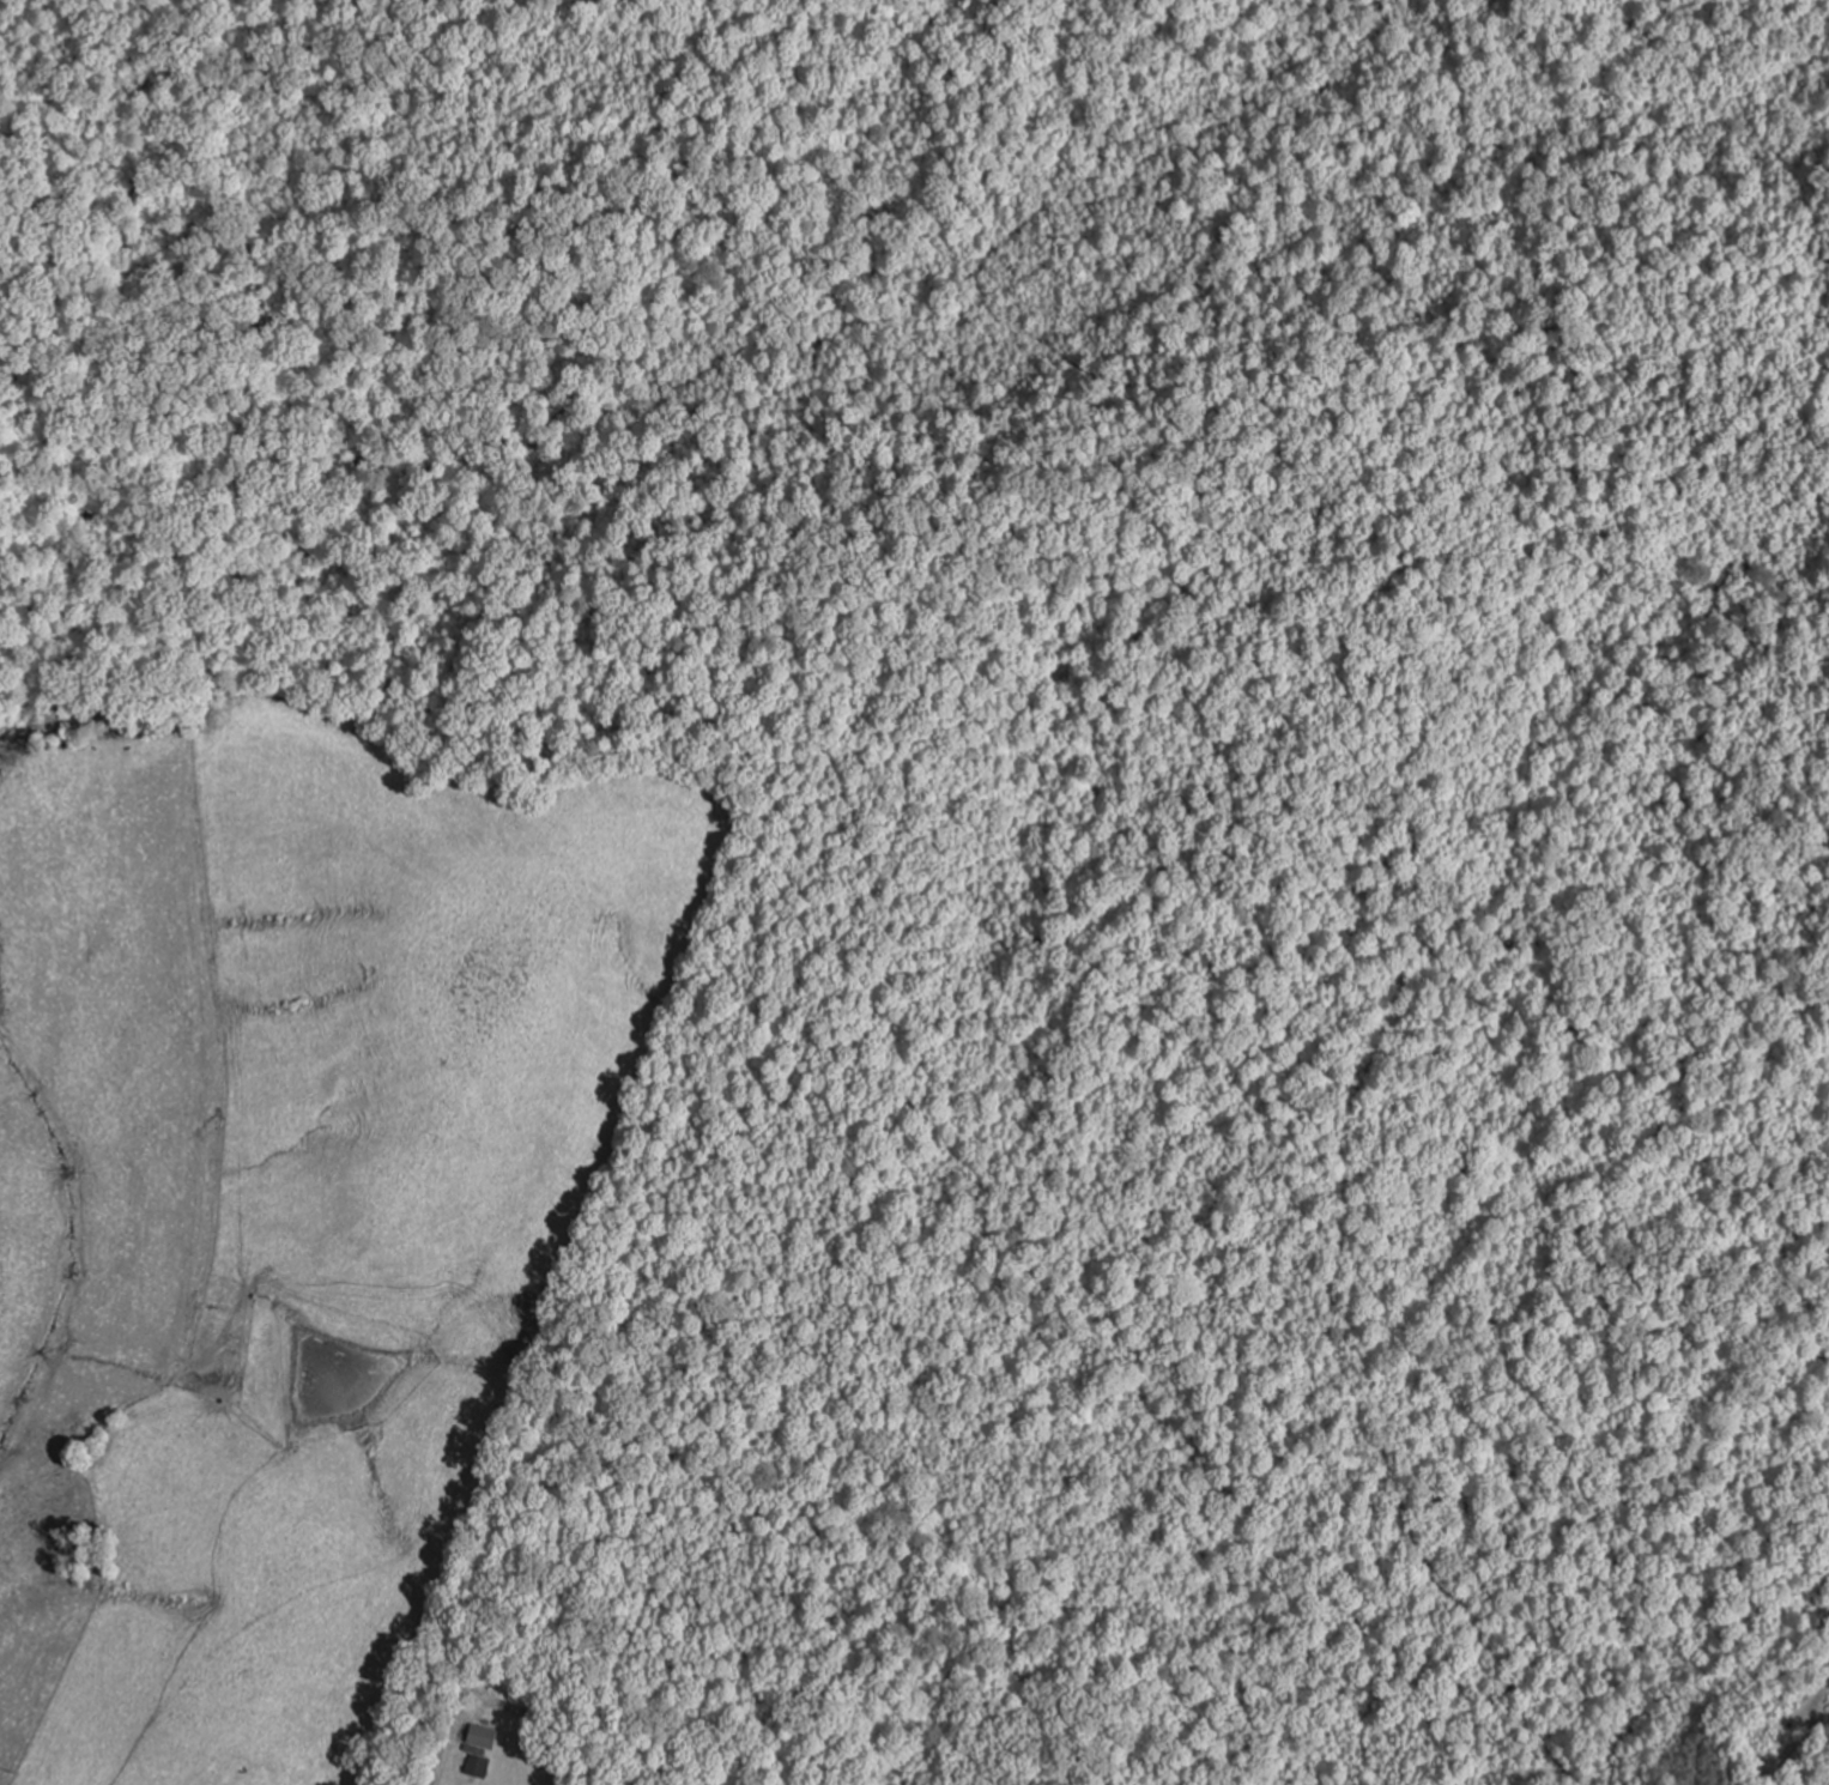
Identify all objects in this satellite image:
building: (480, 1735)
building: (477, 1766)

